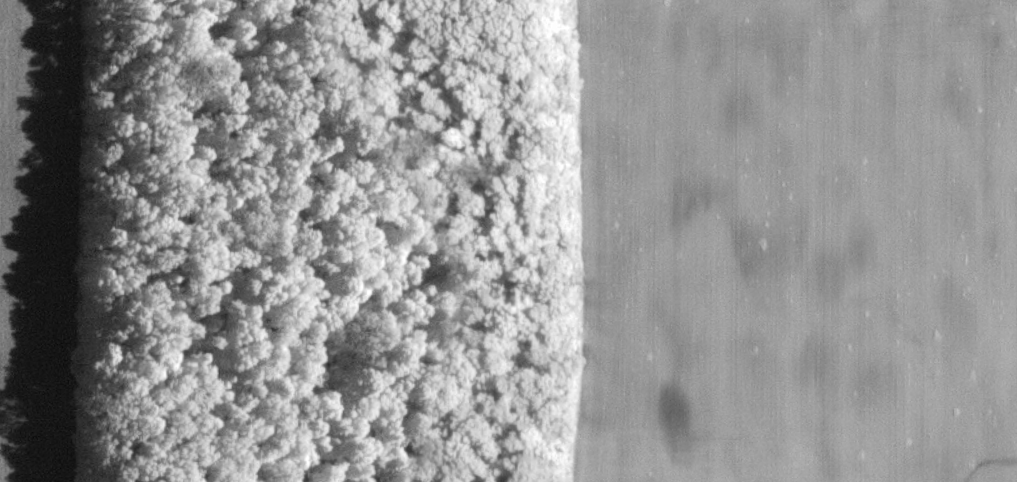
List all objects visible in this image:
road: (475, 434)

